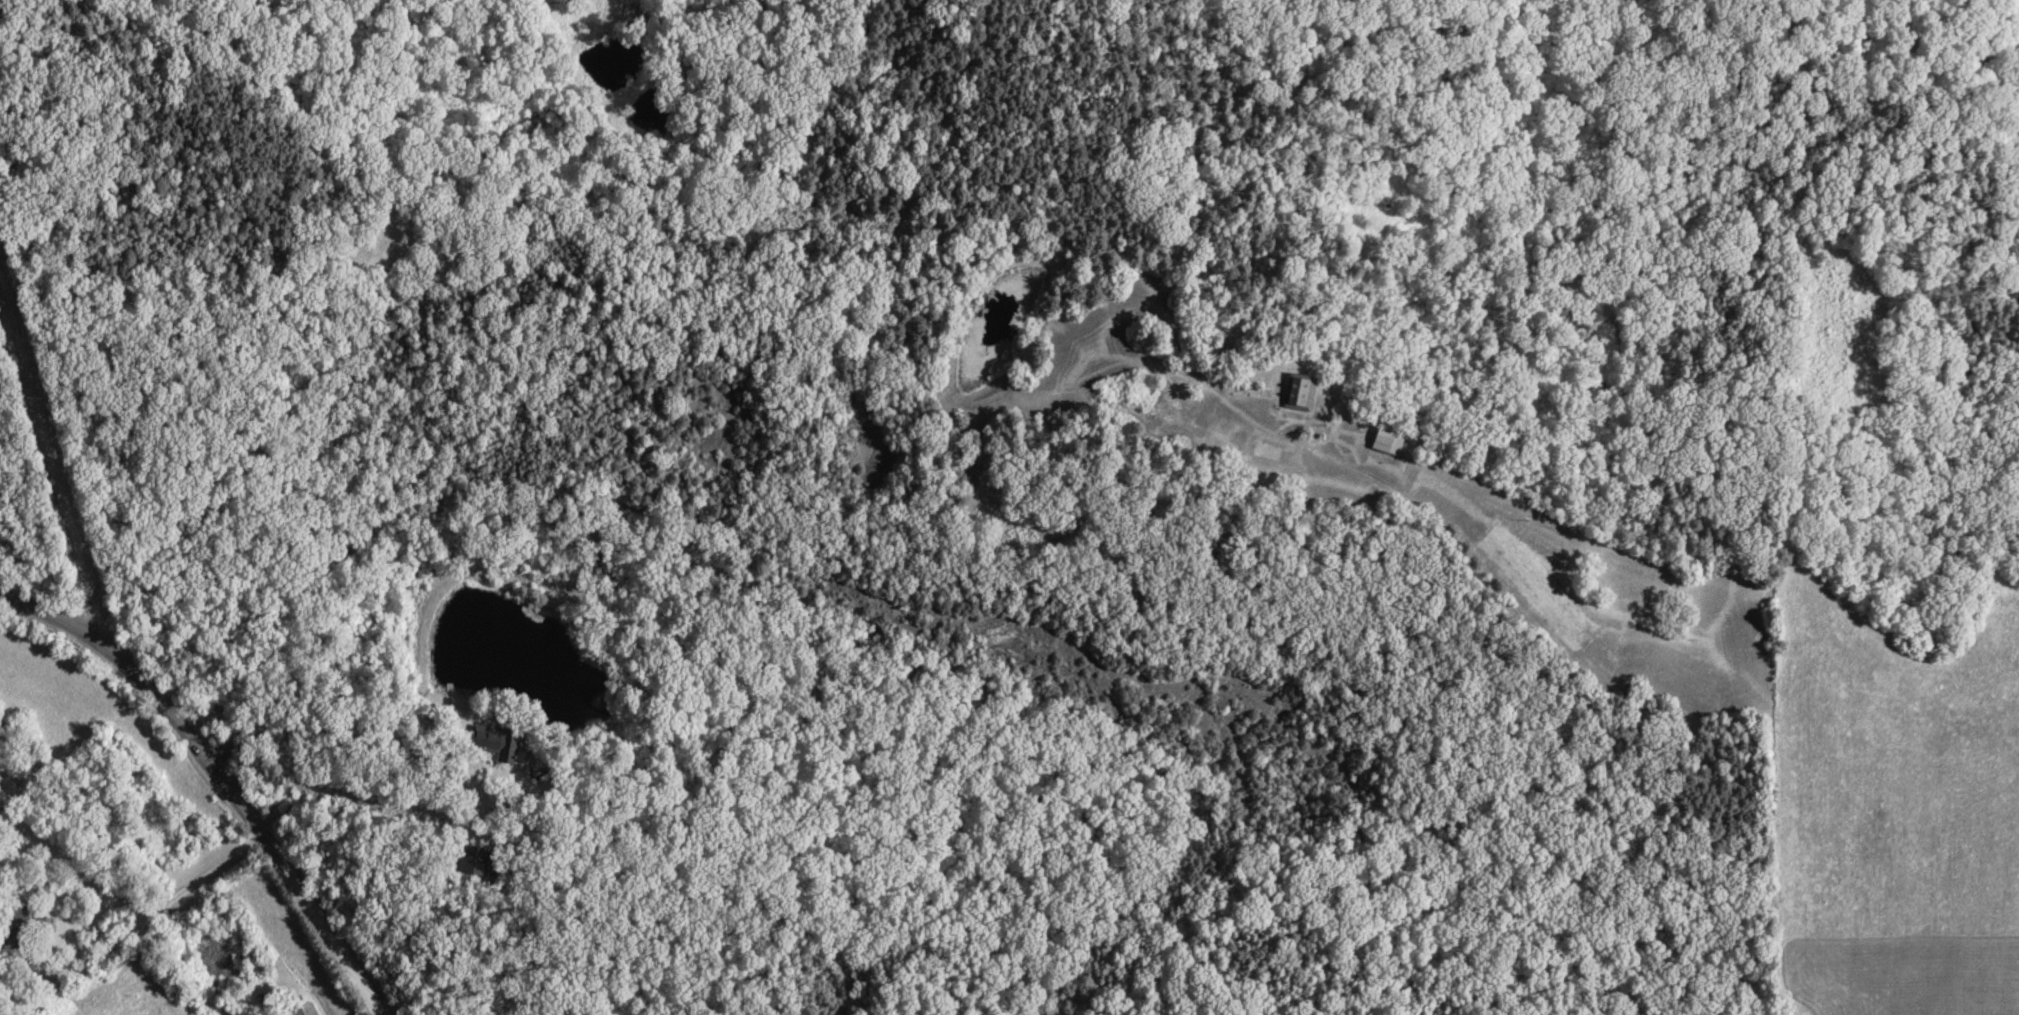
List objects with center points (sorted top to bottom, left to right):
building: (1299, 393)
building: (1385, 443)
road: (1765, 588)
road: (167, 711)
road: (355, 723)
building: (498, 745)
building: (477, 862)
building: (15, 932)
road: (341, 945)
building: (302, 1010)

